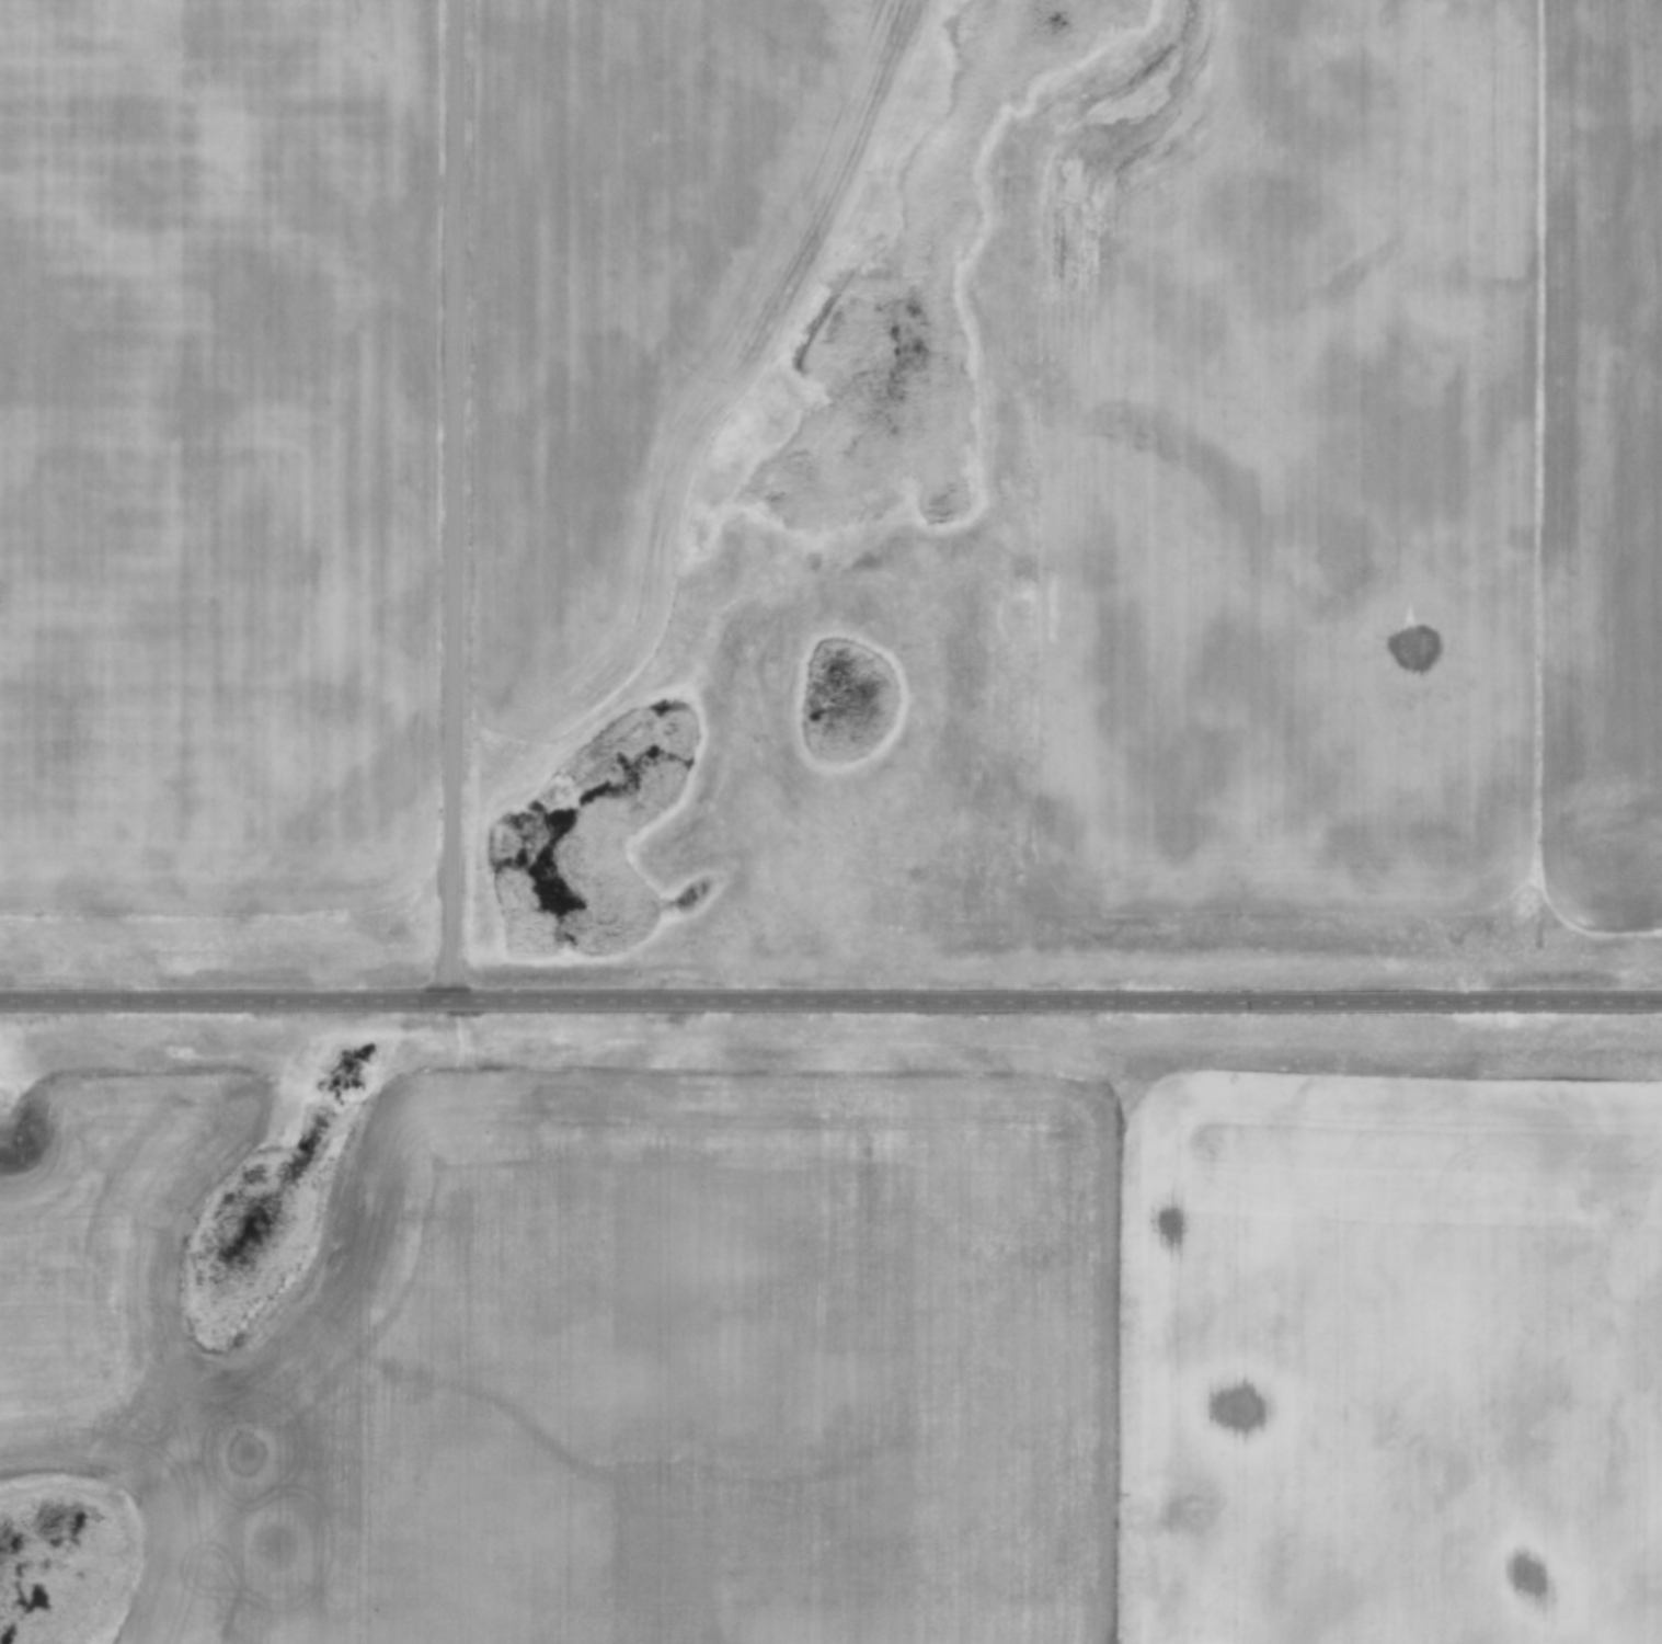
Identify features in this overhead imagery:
road: (452, 500)
road: (830, 1000)

